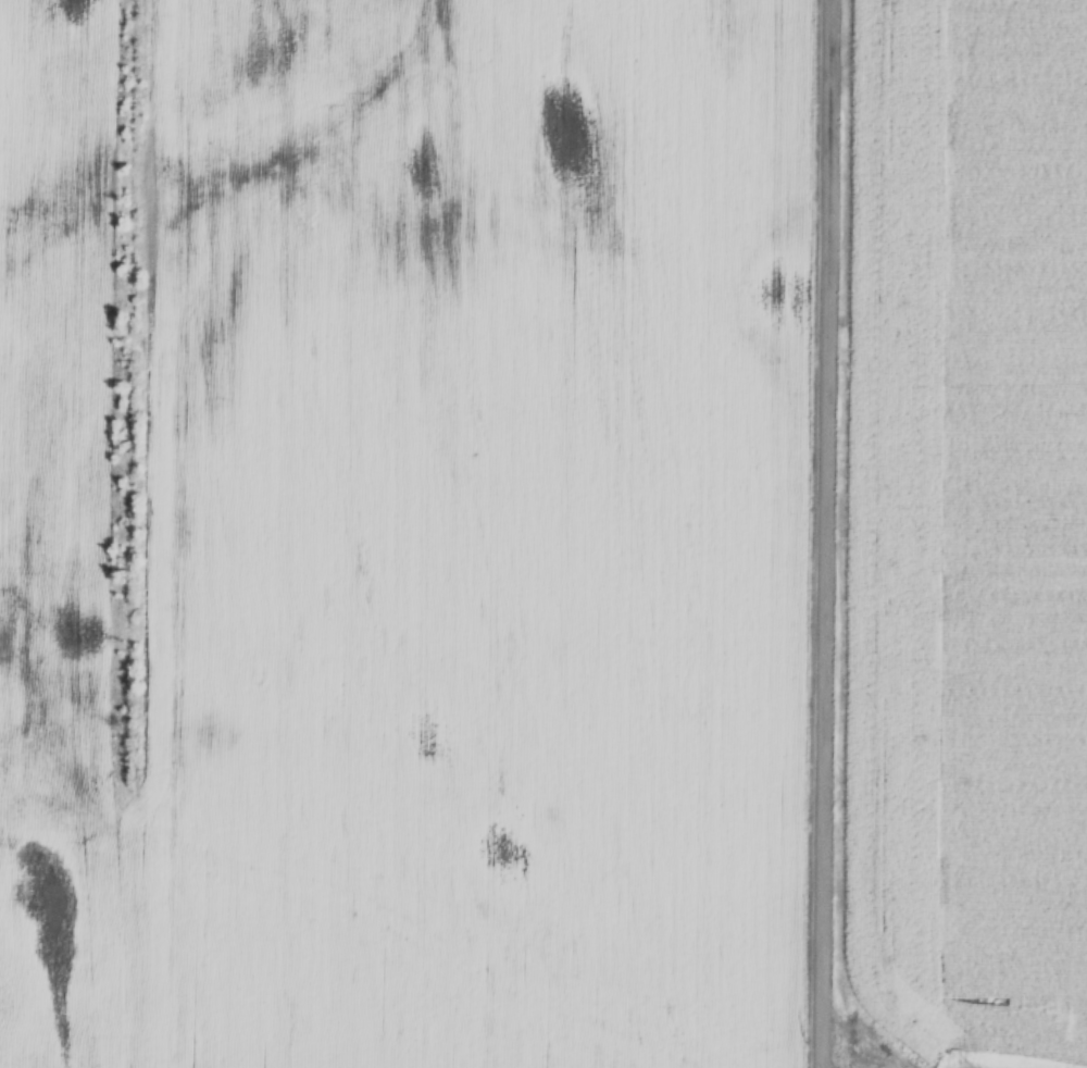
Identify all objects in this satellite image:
road: (834, 534)

